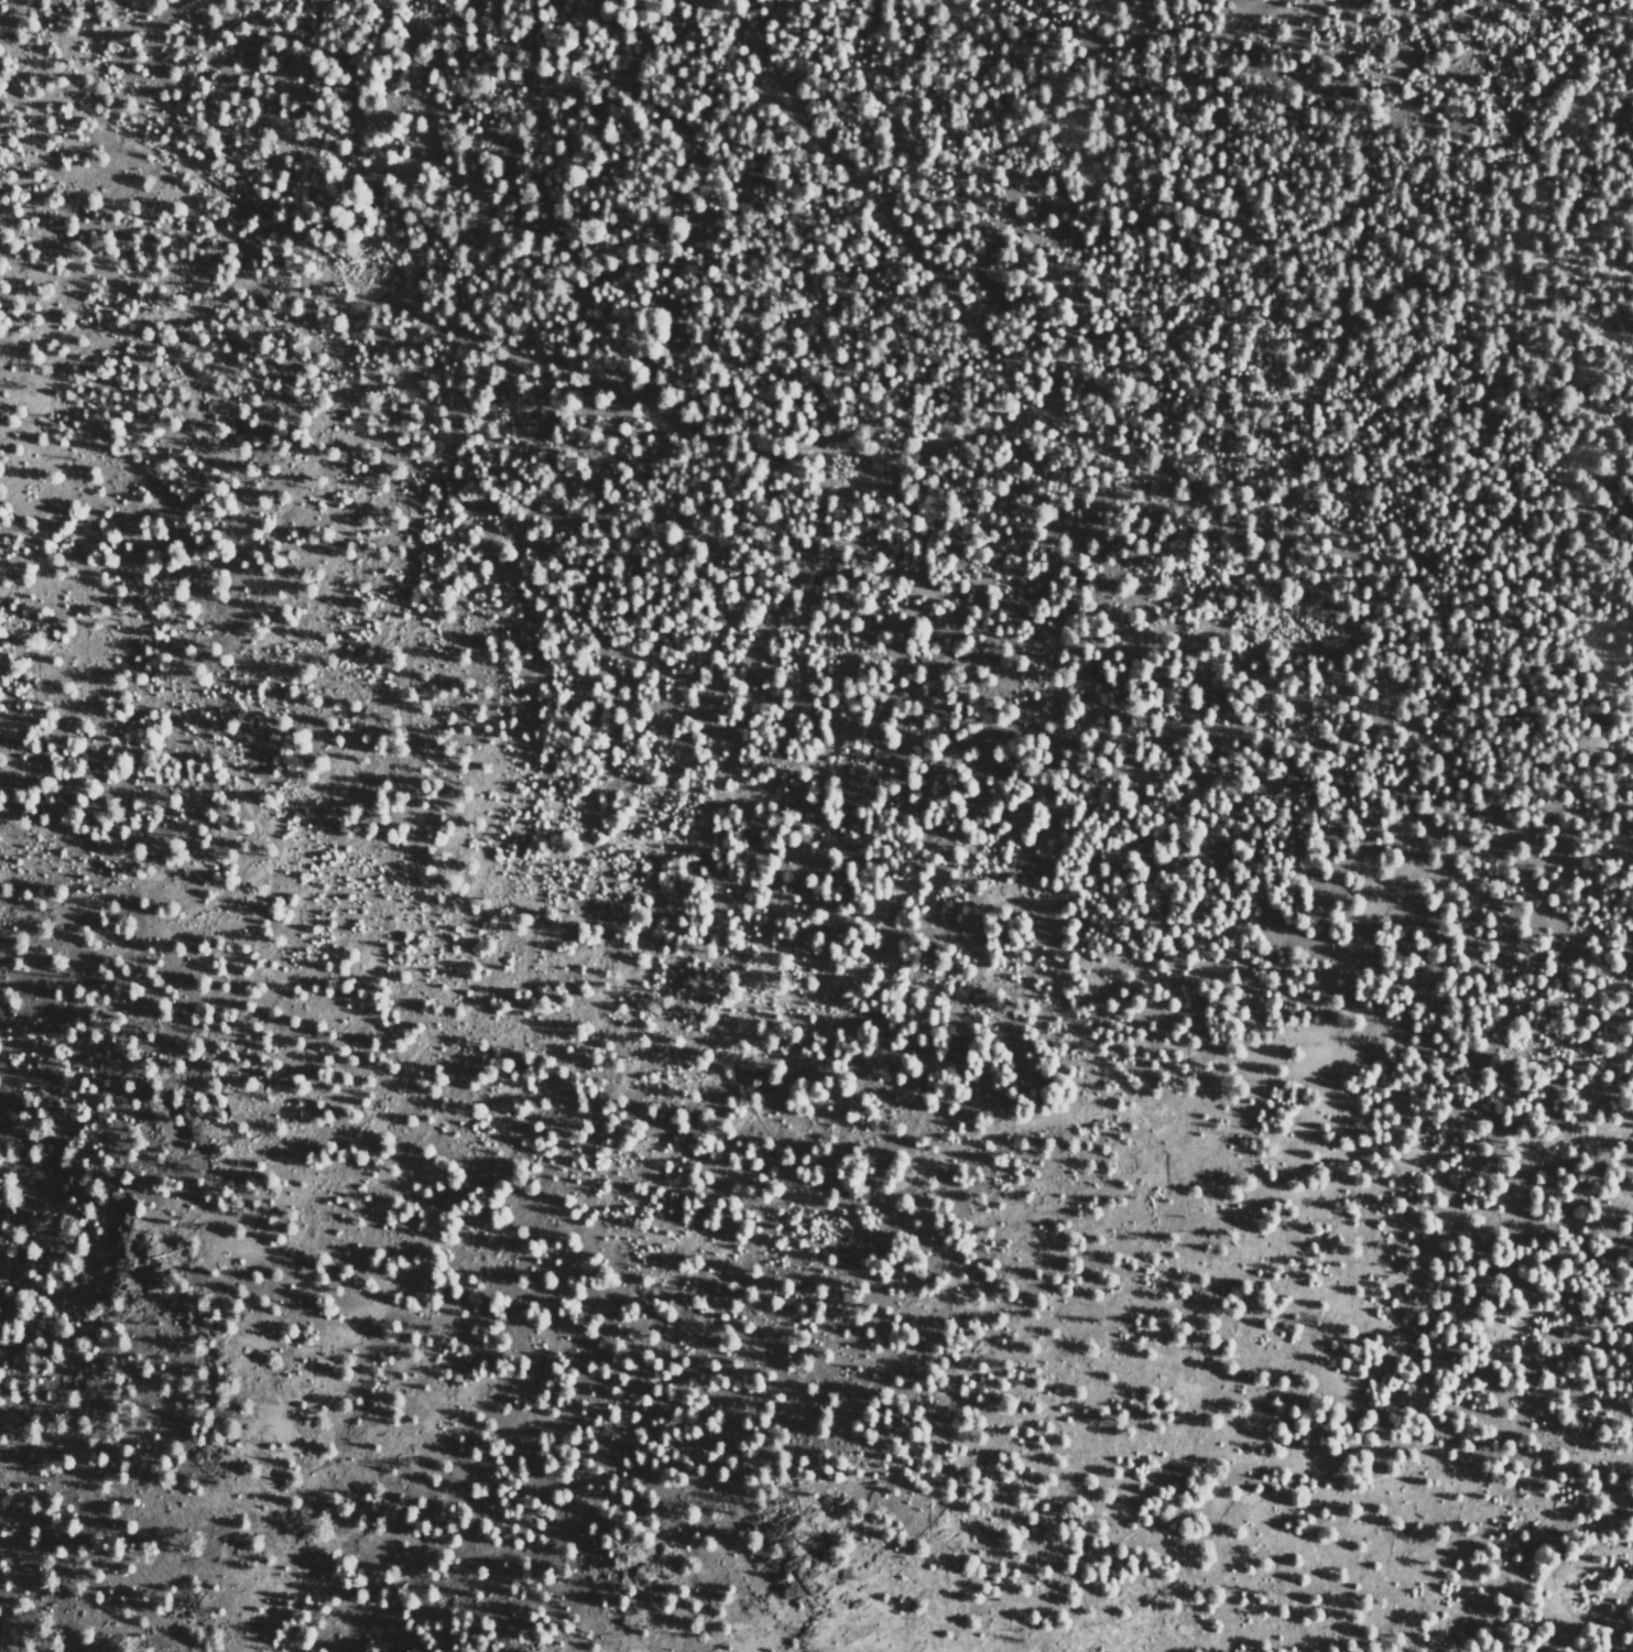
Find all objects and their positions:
road: (497, 332)
road: (1182, 492)

